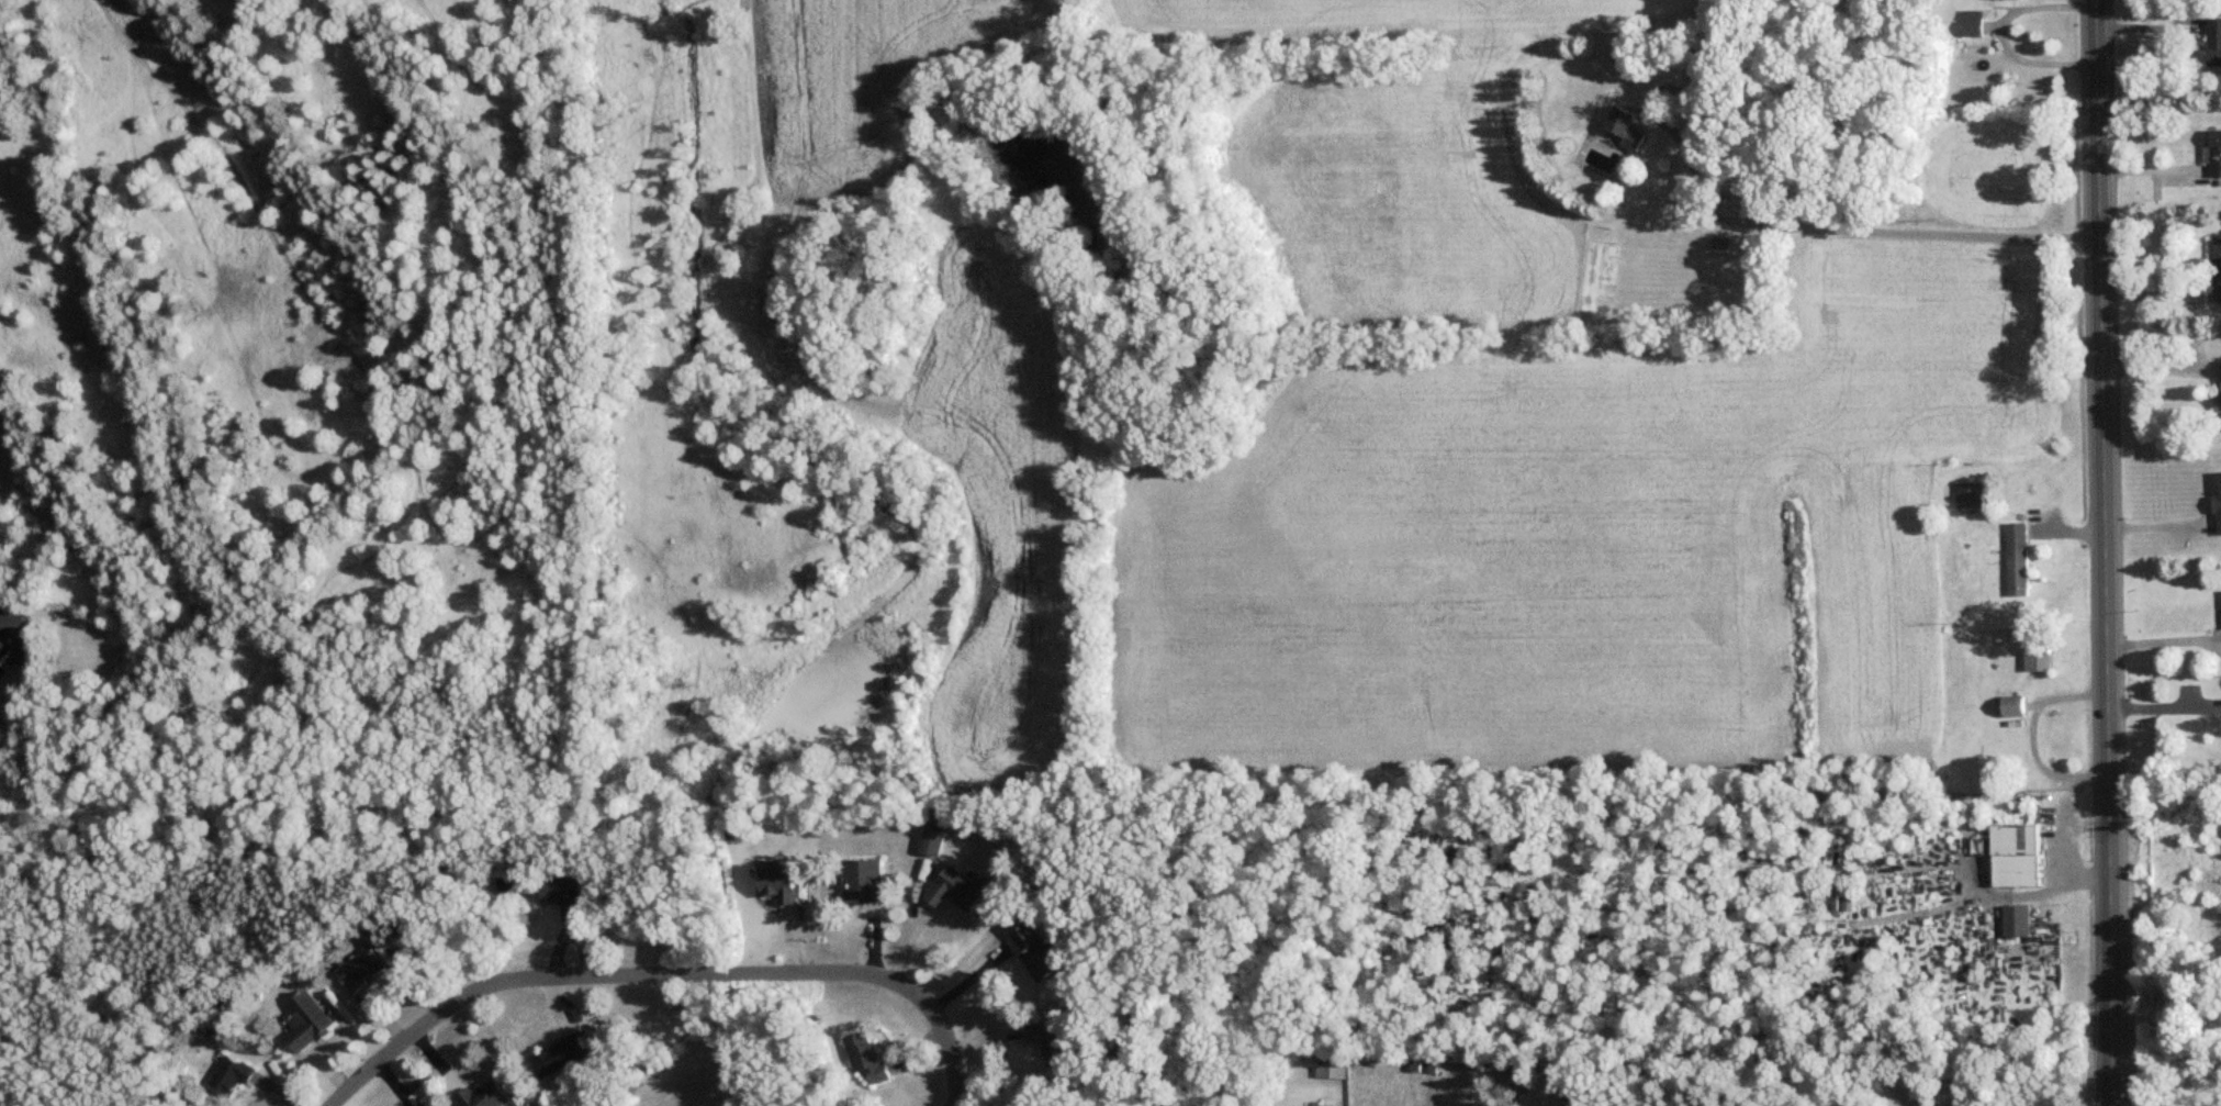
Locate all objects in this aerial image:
building: (1972, 21)
road: (2012, 29)
building: (2214, 40)
building: (1625, 126)
building: (2216, 150)
road: (1859, 228)
building: (1719, 241)
building: (2217, 269)
building: (2218, 398)
building: (1970, 493)
building: (2218, 500)
road: (2113, 552)
building: (2016, 558)
building: (13, 637)
road: (2167, 638)
building: (2037, 653)
building: (2012, 705)
road: (2167, 706)
road: (2030, 733)
building: (933, 840)
building: (2010, 853)
building: (863, 880)
building: (781, 883)
building: (956, 889)
building: (564, 894)
building: (1035, 950)
building: (359, 968)
road: (668, 976)
building: (305, 1020)
building: (1051, 1040)
building: (559, 1055)
building: (866, 1058)
building: (1332, 1071)
building: (231, 1073)
building: (485, 1094)
building: (422, 1104)

